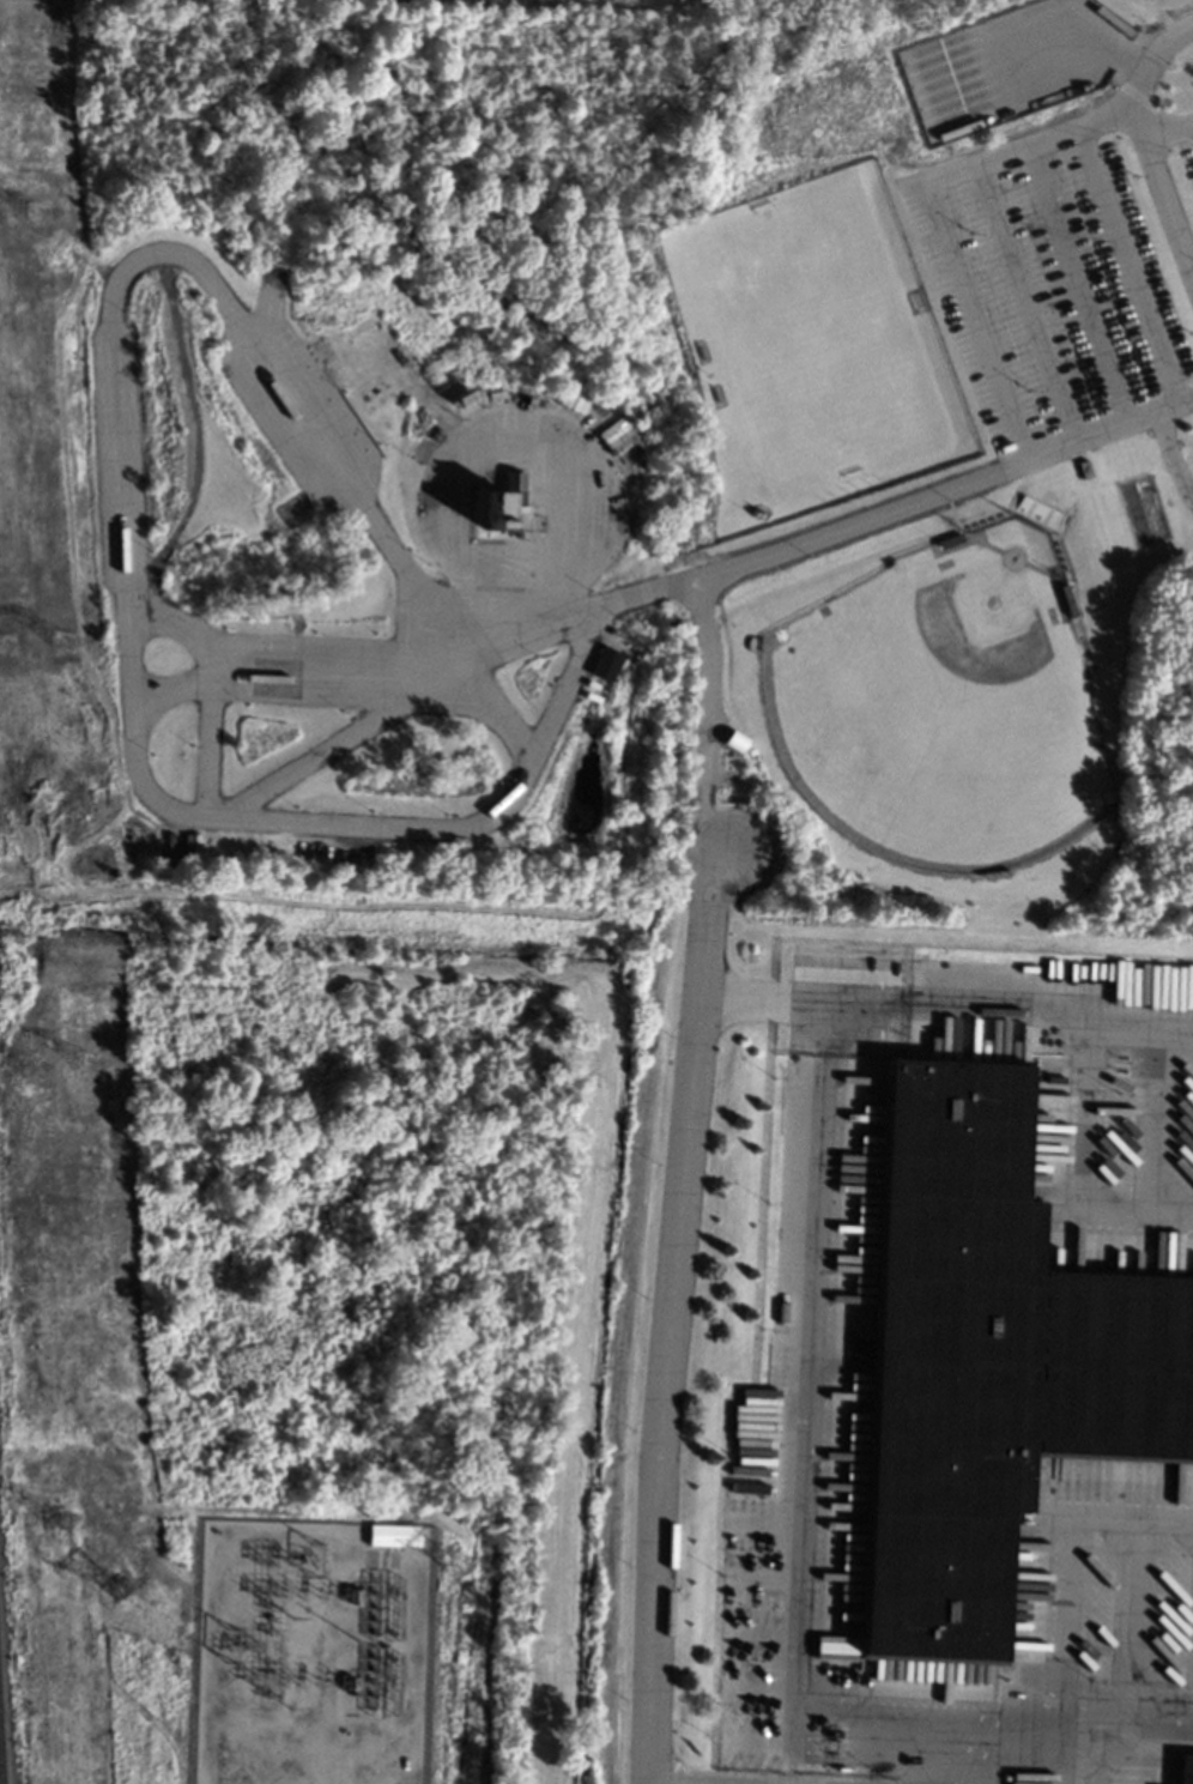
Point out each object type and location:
road: (1167, 125)
road: (939, 177)
road: (1161, 186)
power tower: (35, 213)
road: (1130, 261)
parking lot: (1065, 266)
road: (1076, 282)
road: (1025, 301)
park: (809, 343)
building: (462, 394)
road: (526, 419)
building: (617, 434)
road: (1170, 456)
building: (1084, 467)
road: (116, 488)
building: (514, 504)
road: (822, 533)
building: (949, 540)
road: (525, 581)
building: (1068, 599)
power tower: (62, 642)
power tower: (2, 646)
building: (602, 664)
road: (286, 679)
road: (207, 688)
park: (944, 703)
road: (703, 719)
building: (733, 740)
road: (329, 749)
road: (842, 975)
parking lot: (847, 1004)
road: (888, 1015)
road: (801, 1029)
road: (1139, 1033)
road: (828, 1042)
power tower: (85, 1064)
power tower: (26, 1066)
road: (1084, 1083)
road: (1155, 1123)
road: (668, 1311)
building: (987, 1363)
road: (807, 1478)
power tower: (53, 1517)
building: (393, 1535)
power tower: (314, 1555)
power tower: (456, 1564)
power tower: (116, 1589)
road: (1136, 1607)
road: (1058, 1611)
power tower: (234, 1645)
power substation: (314, 1652)
parking lot: (773, 1658)
road: (417, 1674)
road: (1124, 1695)
road: (974, 1716)
road: (1095, 1720)
road: (983, 1725)
building: (1167, 1730)
road: (1062, 1738)
road: (793, 1746)
road: (1079, 1746)
railway: (1, 1754)
building: (1185, 1768)

